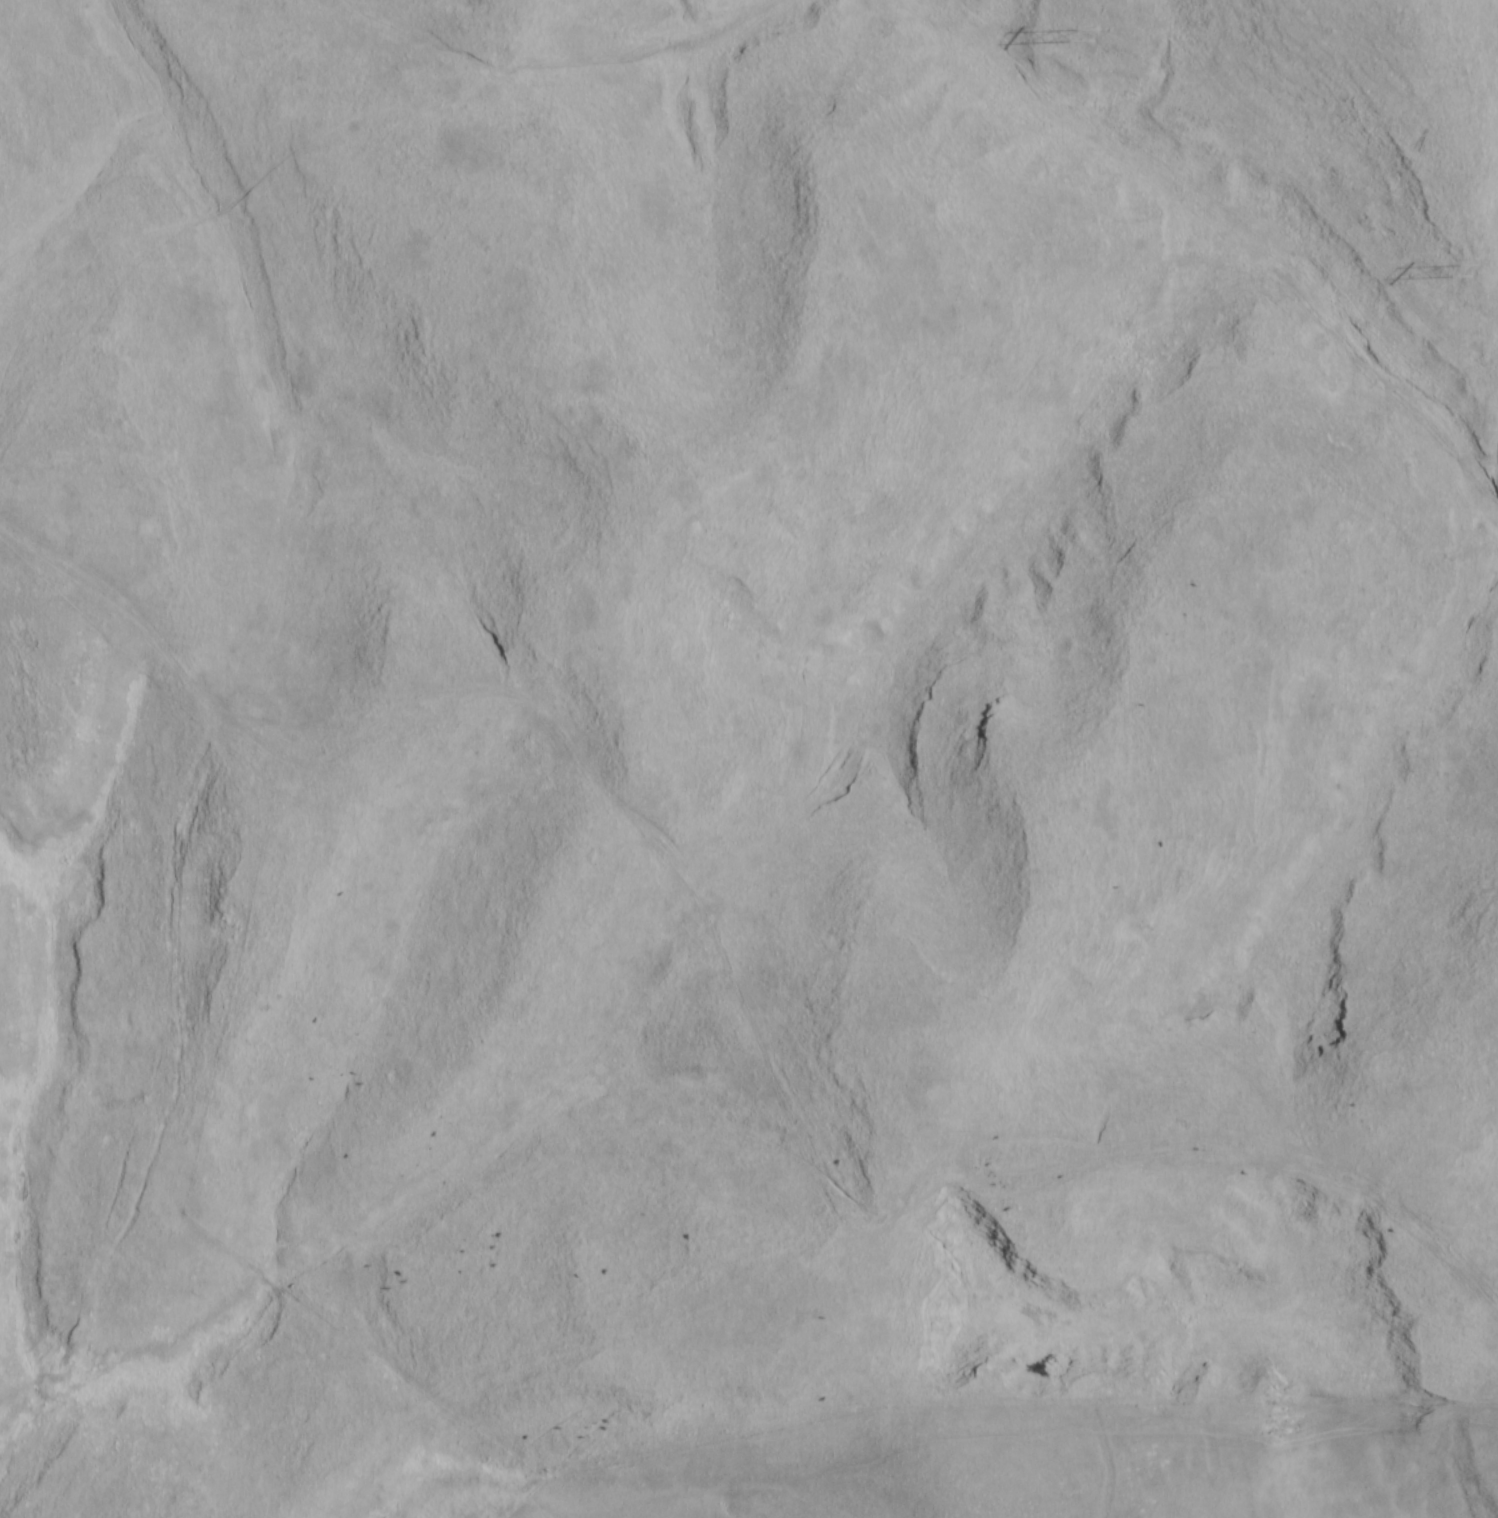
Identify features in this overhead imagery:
power tower: (1092, 32)
power tower: (1472, 270)

